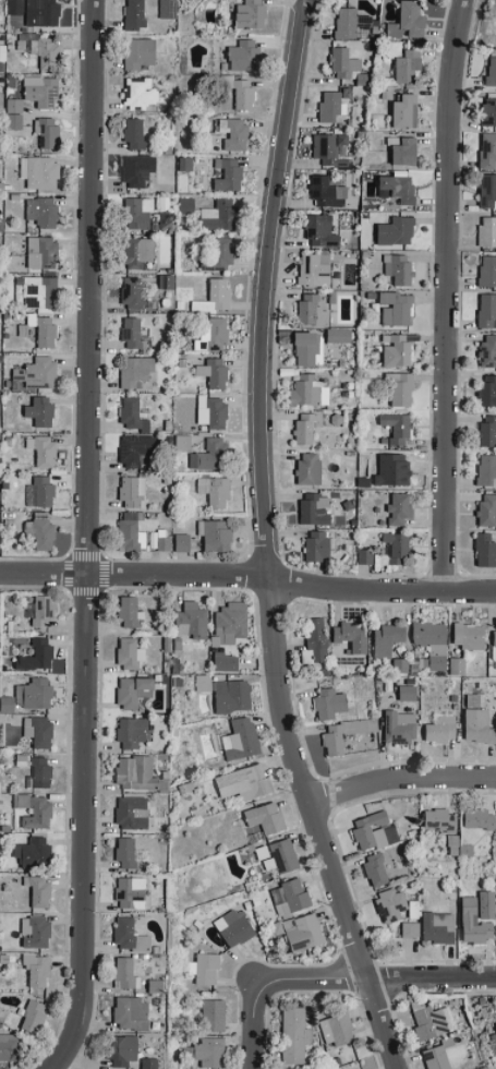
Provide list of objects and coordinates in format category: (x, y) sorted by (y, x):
building: (14, 7)
building: (168, 9)
building: (43, 12)
building: (135, 14)
building: (251, 14)
building: (412, 17)
building: (346, 23)
building: (40, 51)
building: (141, 52)
building: (244, 56)
building: (343, 62)
building: (408, 65)
building: (492, 70)
building: (41, 91)
building: (140, 93)
building: (14, 105)
building: (330, 106)
building: (406, 111)
building: (488, 111)
building: (14, 120)
building: (47, 132)
building: (135, 133)
building: (233, 133)
building: (330, 148)
building: (487, 151)
building: (406, 152)
building: (185, 164)
building: (138, 170)
building: (40, 172)
building: (229, 175)
building: (397, 187)
building: (487, 191)
building: (327, 192)
building: (186, 205)
building: (41, 211)
building: (138, 213)
building: (218, 215)
building: (322, 231)
building: (397, 231)
building: (487, 232)
building: (40, 252)
building: (140, 252)
building: (220, 255)
building: (398, 268)
building: (314, 269)
building: (487, 271)
building: (166, 281)
building: (36, 291)
building: (132, 291)
building: (214, 297)
road: (448, 297)
building: (396, 308)
building: (313, 310)
building: (487, 310)
building: (44, 329)
building: (132, 334)
building: (213, 335)
building: (339, 335)
building: (306, 347)
building: (488, 350)
building: (38, 372)
building: (136, 372)
building: (214, 372)
building: (400, 388)
building: (310, 391)
building: (487, 392)
building: (40, 411)
building: (213, 412)
building: (132, 415)
building: (305, 428)
building: (398, 428)
building: (488, 430)
building: (182, 443)
building: (43, 451)
building: (138, 451)
building: (210, 455)
building: (310, 468)
building: (394, 469)
building: (486, 469)
building: (39, 491)
building: (215, 491)
building: (133, 492)
building: (400, 508)
building: (315, 509)
building: (487, 509)
building: (131, 531)
building: (39, 532)
building: (216, 534)
road: (87, 538)
building: (159, 540)
building: (182, 542)
road: (266, 542)
building: (318, 545)
building: (397, 548)
building: (485, 550)
building: (365, 556)
road: (249, 580)
building: (40, 610)
building: (131, 613)
building: (193, 620)
building: (231, 622)
building: (352, 635)
building: (469, 636)
building: (387, 639)
building: (315, 641)
building: (432, 642)
building: (494, 642)
building: (40, 652)
building: (130, 653)
building: (227, 662)
building: (457, 665)
building: (203, 683)
building: (135, 690)
building: (408, 693)
building: (29, 696)
building: (232, 696)
building: (330, 704)
building: (477, 721)
building: (399, 728)
building: (441, 730)
building: (38, 731)
building: (133, 732)
building: (344, 733)
building: (241, 738)
building: (40, 772)
building: (136, 772)
building: (245, 782)
road: (399, 783)
building: (35, 810)
building: (132, 813)
building: (266, 818)
building: (440, 819)
building: (480, 819)
building: (374, 831)
building: (459, 848)
building: (36, 852)
building: (126, 853)
building: (282, 856)
building: (376, 870)
building: (38, 890)
building: (131, 892)
building: (290, 898)
building: (390, 905)
building: (234, 927)
building: (438, 927)
building: (477, 928)
building: (410, 929)
building: (35, 932)
building: (303, 933)
building: (130, 936)
building: (205, 968)
building: (37, 969)
building: (124, 972)
road: (375, 981)
building: (132, 1013)
building: (213, 1016)
building: (34, 1017)
building: (430, 1021)
building: (495, 1023)
road: (254, 1024)
building: (337, 1030)
building: (294, 1035)
building: (9, 1046)
building: (124, 1050)
building: (207, 1052)
building: (436, 1058)
building: (148, 1064)

